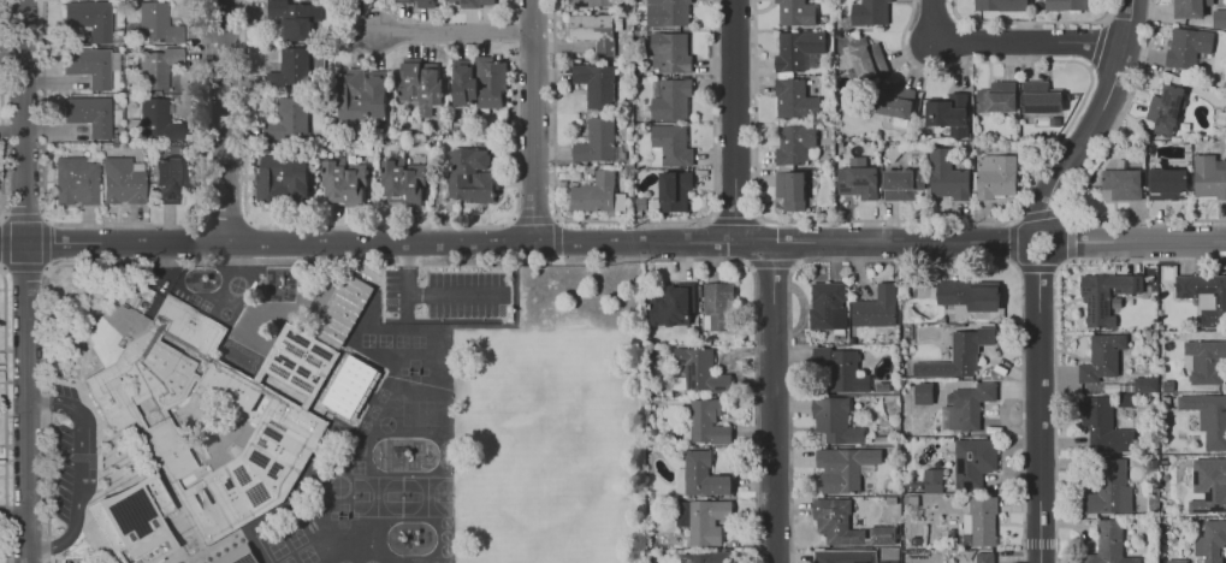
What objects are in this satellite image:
building: (404, 1)
building: (591, 2)
building: (425, 4)
building: (470, 4)
building: (999, 5)
building: (1066, 5)
building: (1187, 7)
building: (667, 12)
building: (795, 12)
building: (867, 12)
building: (295, 18)
building: (90, 19)
building: (158, 23)
building: (596, 31)
road: (454, 35)
road: (1007, 43)
building: (1186, 46)
building: (128, 51)
building: (798, 51)
building: (668, 52)
building: (865, 58)
building: (89, 66)
building: (156, 67)
building: (290, 69)
building: (479, 83)
building: (597, 84)
building: (420, 85)
building: (359, 95)
building: (995, 96)
building: (1040, 97)
building: (669, 99)
building: (794, 100)
building: (895, 100)
building: (1165, 108)
road: (4, 111)
building: (947, 113)
building: (89, 114)
building: (289, 119)
building: (155, 120)
road: (225, 120)
road: (533, 120)
road: (734, 120)
building: (597, 142)
building: (793, 142)
building: (114, 146)
building: (668, 146)
building: (591, 168)
building: (946, 174)
building: (995, 176)
building: (1208, 176)
building: (486, 178)
building: (857, 178)
building: (167, 179)
building: (283, 180)
building: (77, 182)
building: (123, 182)
building: (344, 182)
building: (403, 182)
building: (1120, 183)
building: (900, 184)
building: (1167, 184)
building: (562, 185)
building: (789, 189)
building: (673, 190)
building: (598, 195)
road: (224, 217)
road: (1071, 217)
road: (24, 218)
road: (710, 218)
road: (556, 219)
road: (733, 219)
road: (514, 220)
road: (534, 220)
road: (633, 221)
road: (122, 226)
road: (380, 227)
road: (556, 238)
road: (199, 241)
road: (367, 242)
road: (884, 243)
road: (1131, 243)
road: (48, 245)
road: (904, 259)
road: (557, 260)
road: (402, 262)
road: (771, 266)
road: (25, 269)
road: (1036, 271)
road: (26, 281)
road: (427, 294)
parking lot: (448, 294)
building: (969, 294)
building: (1204, 296)
building: (1101, 297)
building: (673, 304)
building: (718, 306)
building: (825, 306)
building: (875, 307)
building: (343, 312)
park: (367, 340)
park: (384, 342)
park: (401, 342)
park: (417, 342)
building: (958, 354)
building: (1101, 357)
building: (1204, 360)
building: (699, 368)
building: (841, 368)
building: (1143, 384)
building: (351, 387)
building: (922, 392)
road: (772, 403)
building: (967, 405)
road: (6, 414)
park: (425, 414)
building: (1208, 417)
building: (833, 420)
building: (292, 421)
building: (705, 422)
park: (386, 425)
building: (1101, 425)
park: (359, 450)
building: (972, 460)
building: (842, 467)
park: (357, 468)
road: (82, 472)
building: (698, 475)
building: (931, 480)
building: (1208, 485)
building: (1108, 488)
park: (377, 497)
park: (426, 497)
road: (13, 512)
building: (681, 516)
building: (979, 520)
building: (706, 521)
building: (835, 521)
building: (135, 522)
building: (881, 534)
park: (296, 538)
building: (1210, 540)
building: (1107, 544)
park: (278, 550)
building: (888, 555)
building: (238, 556)
park: (307, 556)
building: (843, 556)
building: (704, 557)
building: (984, 557)
park: (290, 561)
building: (1174, 561)

